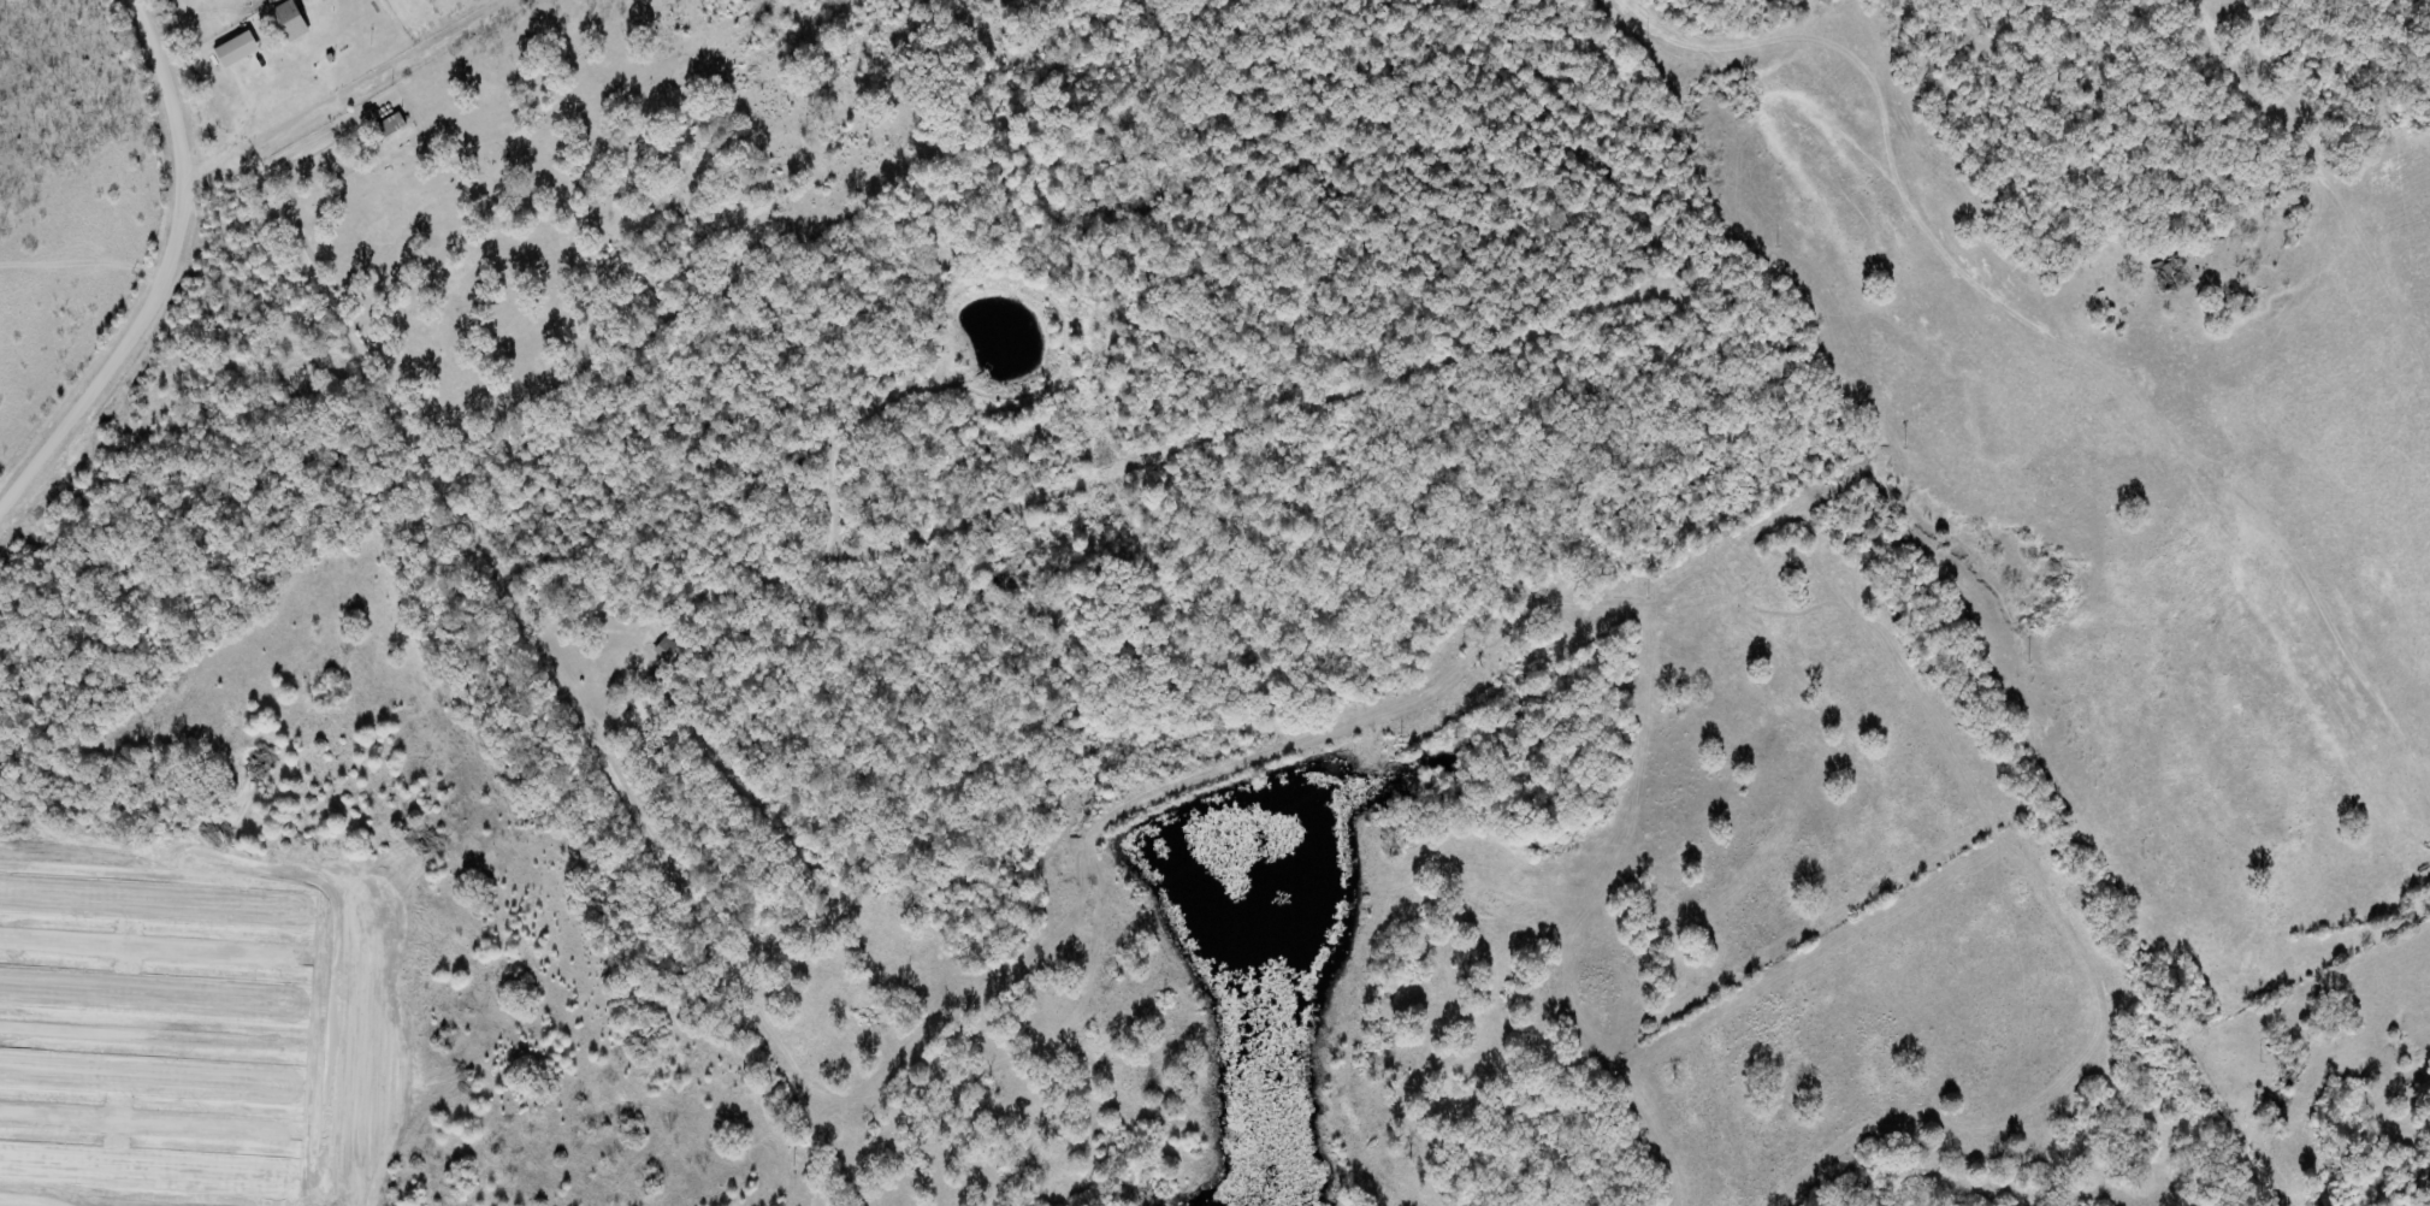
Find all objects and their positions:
building: (288, 22)
building: (233, 49)
road: (350, 95)
building: (390, 125)
road: (166, 277)
road: (2429, 793)
road: (2429, 798)

